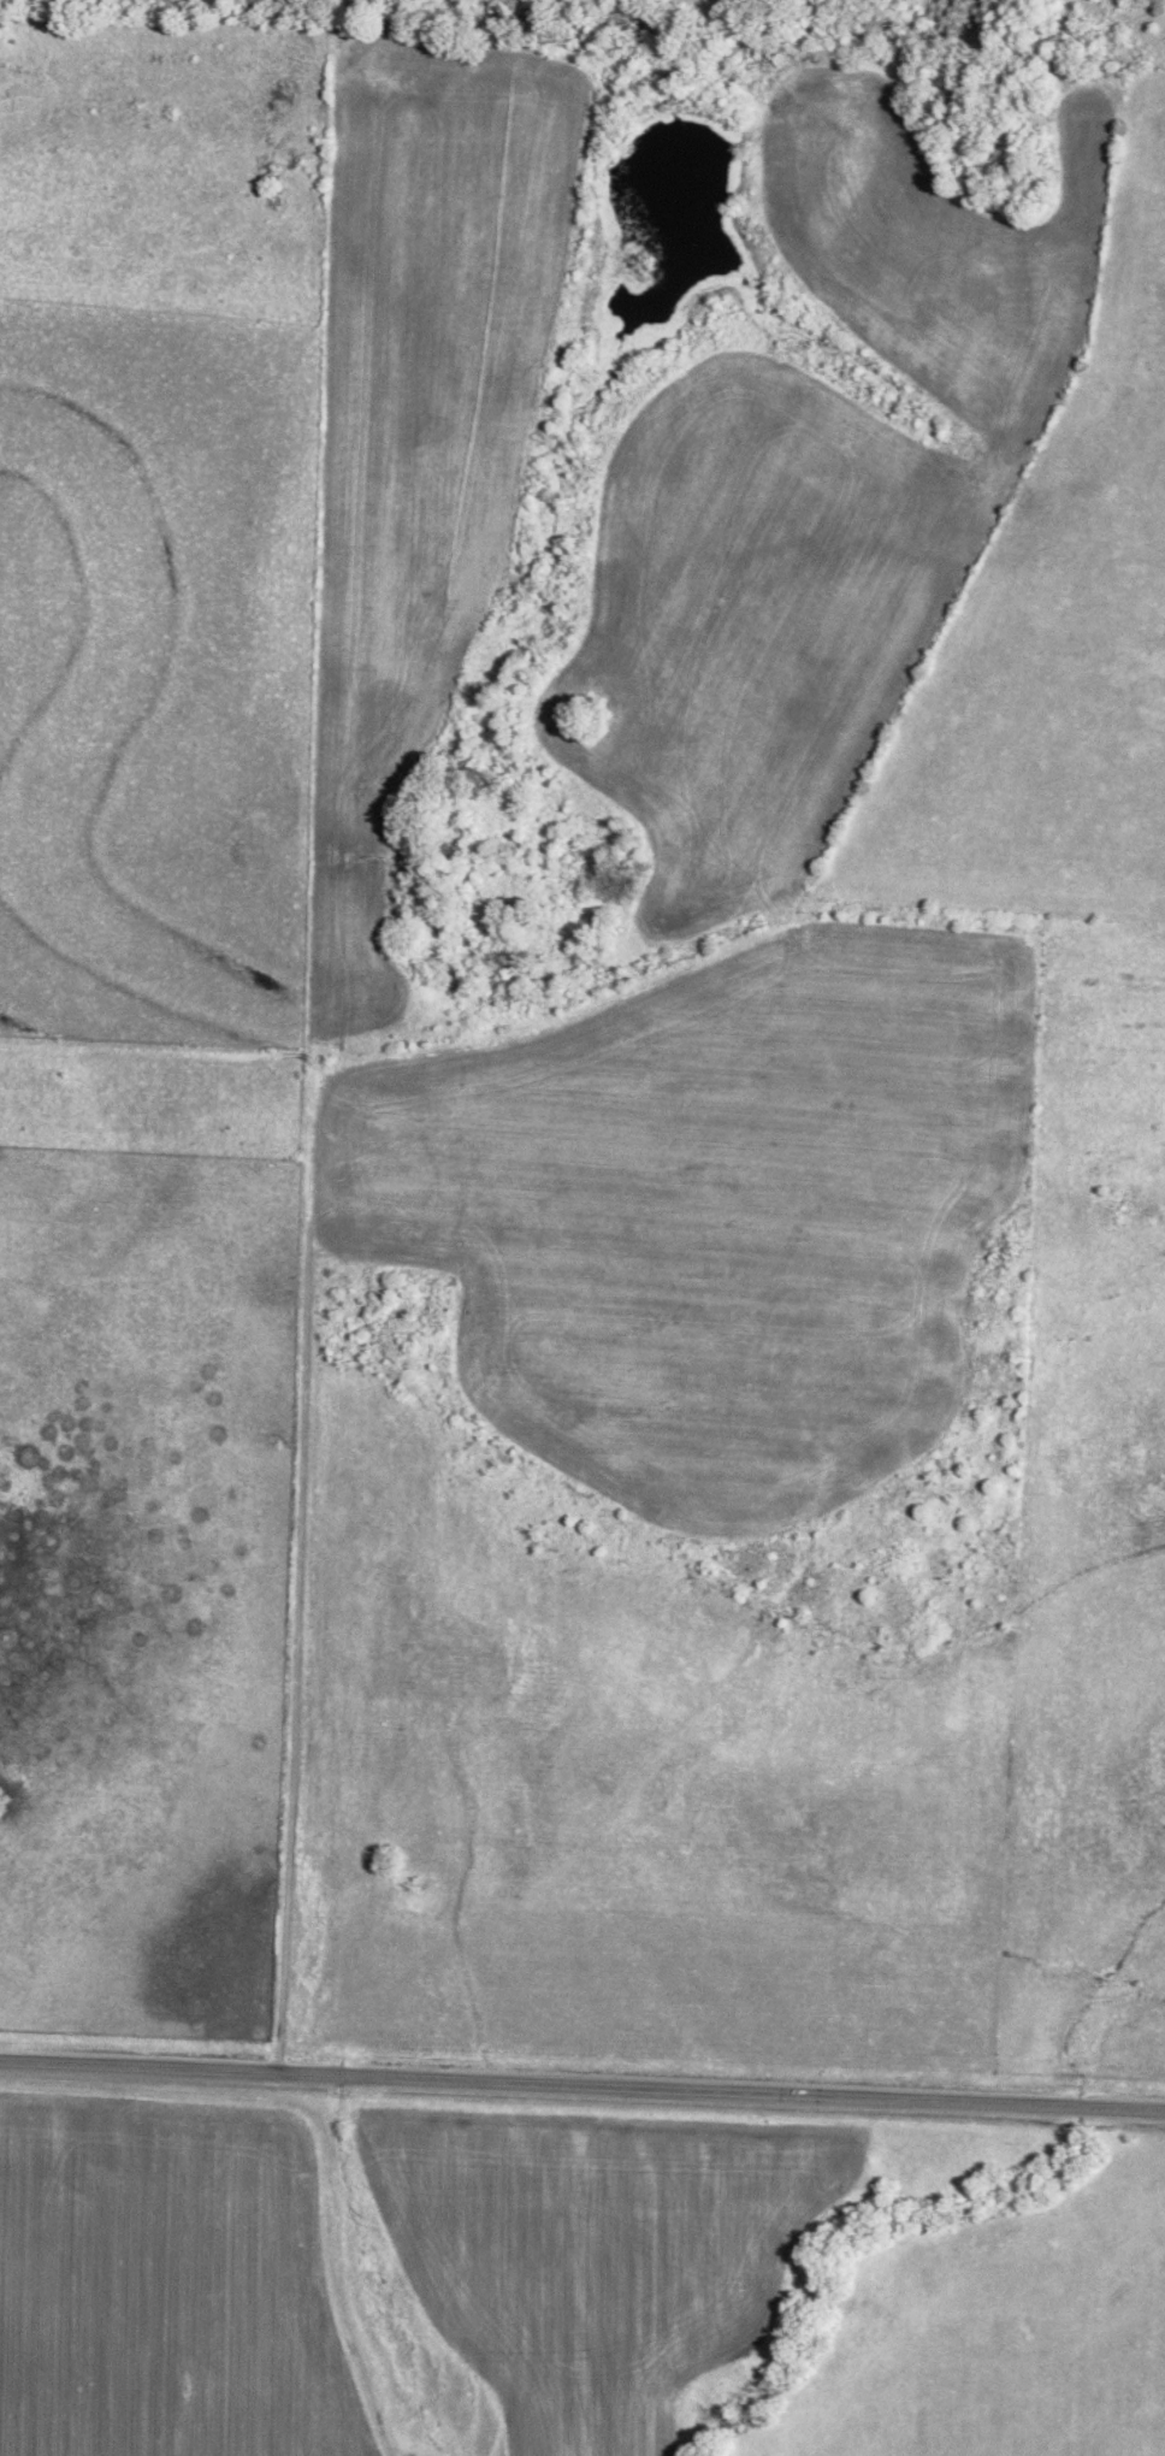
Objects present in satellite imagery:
road: (581, 2089)

